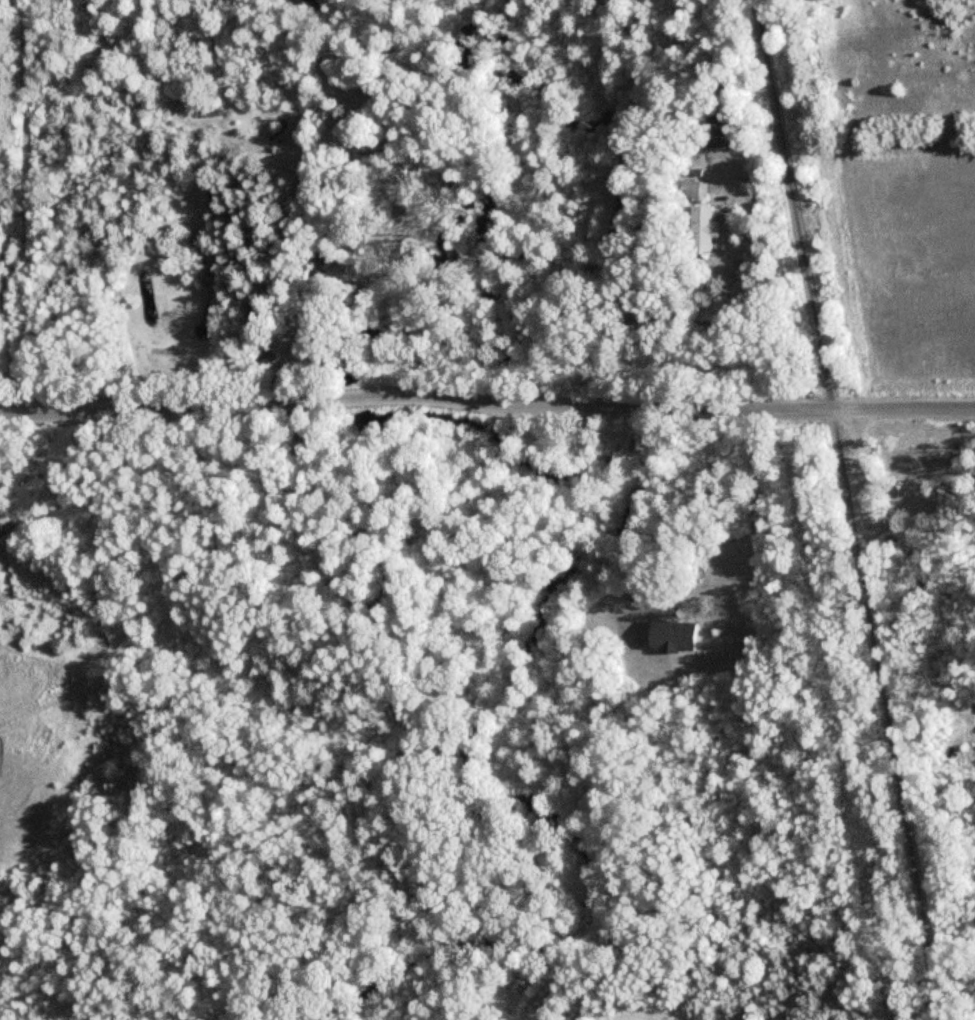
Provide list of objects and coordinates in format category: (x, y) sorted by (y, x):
building: (712, 130)
building: (692, 191)
road: (33, 207)
building: (698, 228)
building: (145, 306)
road: (428, 396)
road: (916, 408)
building: (915, 479)
road: (849, 509)
road: (751, 524)
building: (668, 637)
road: (644, 1013)

